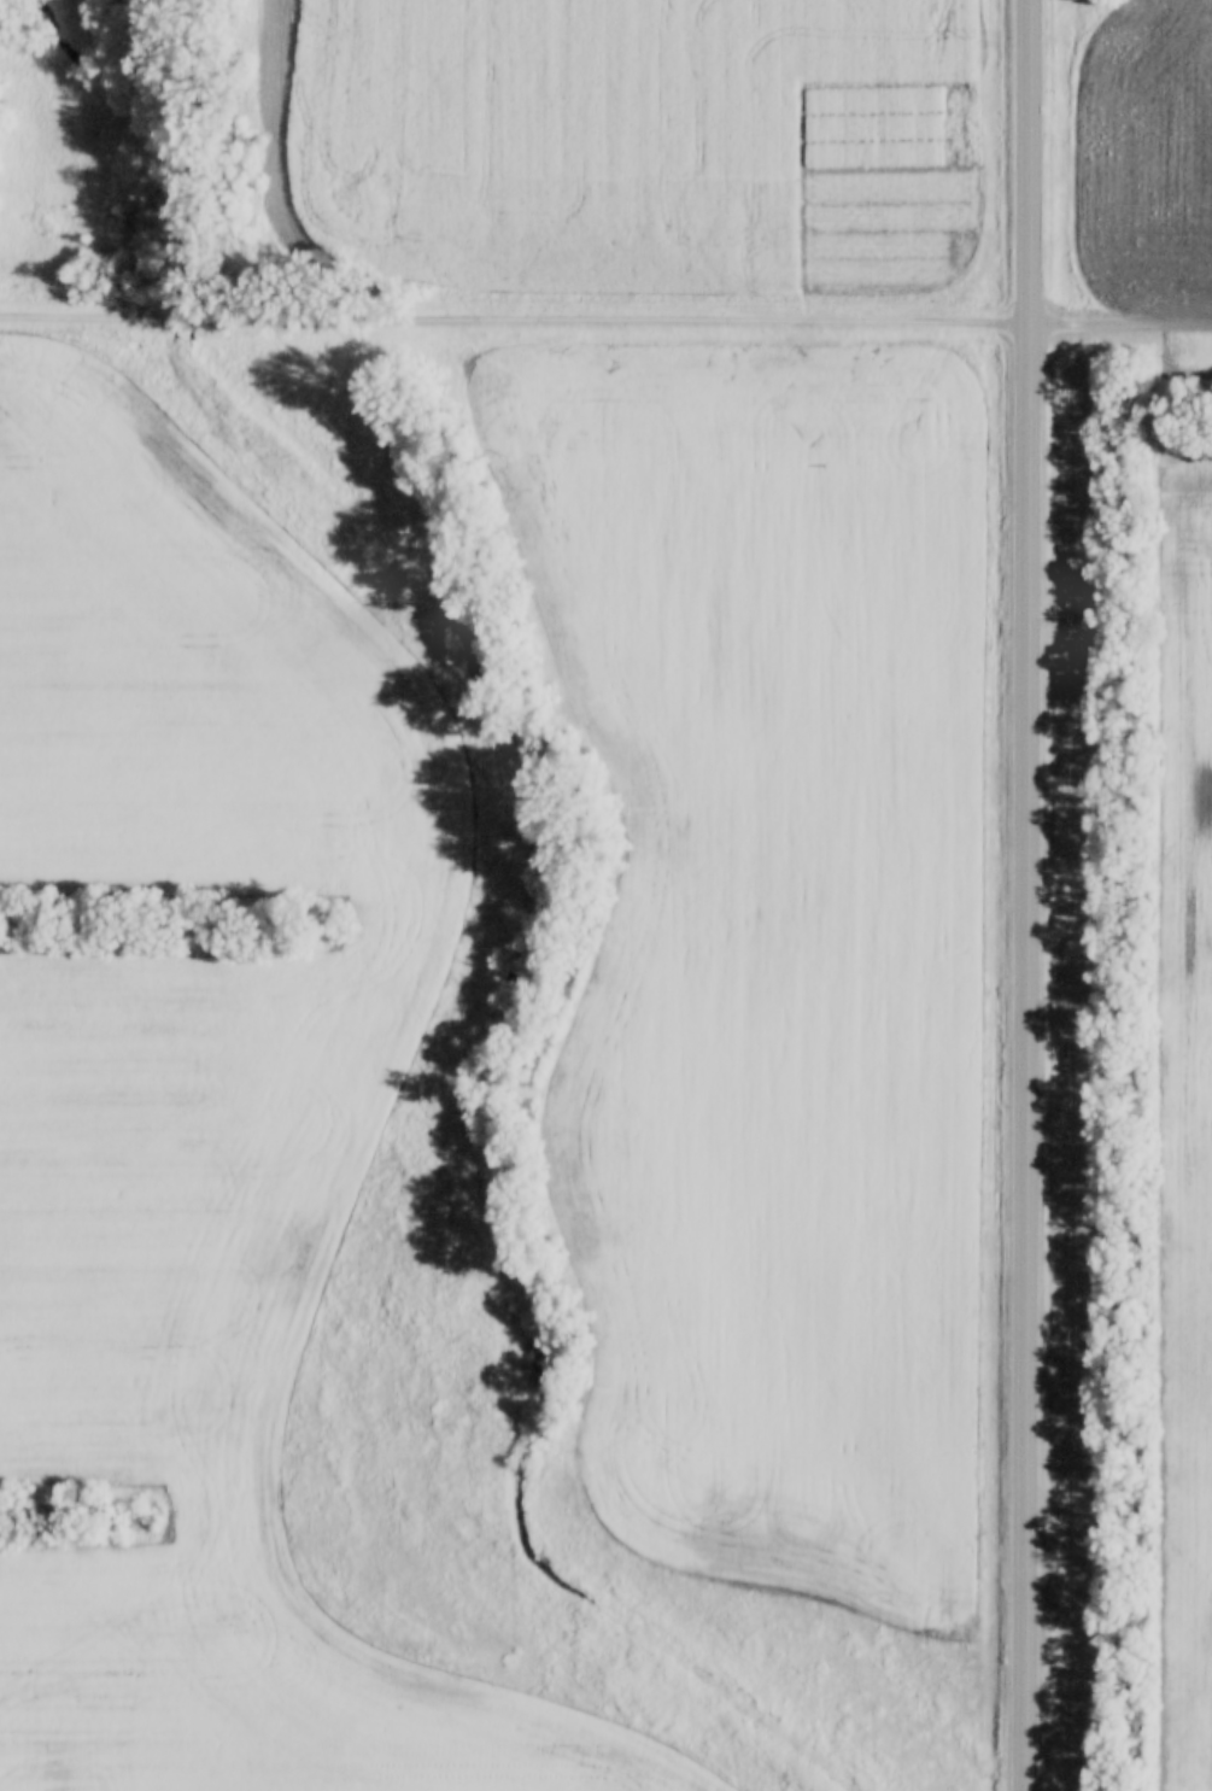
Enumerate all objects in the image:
road: (605, 322)
road: (1029, 895)

